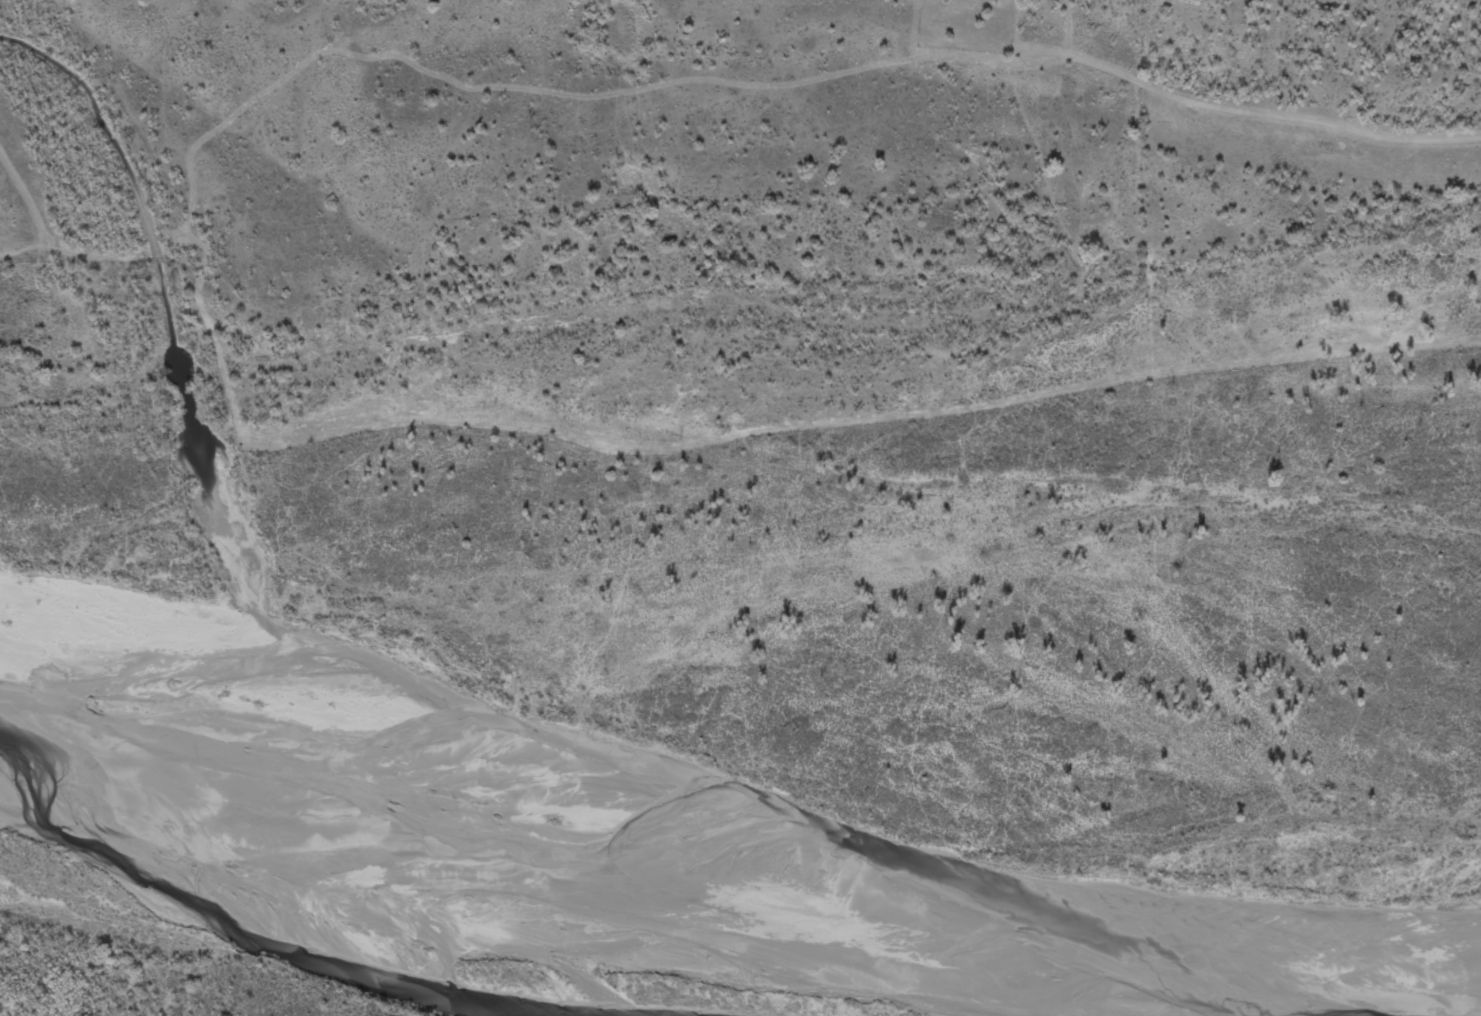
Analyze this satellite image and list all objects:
road: (862, 393)
river: (568, 769)

